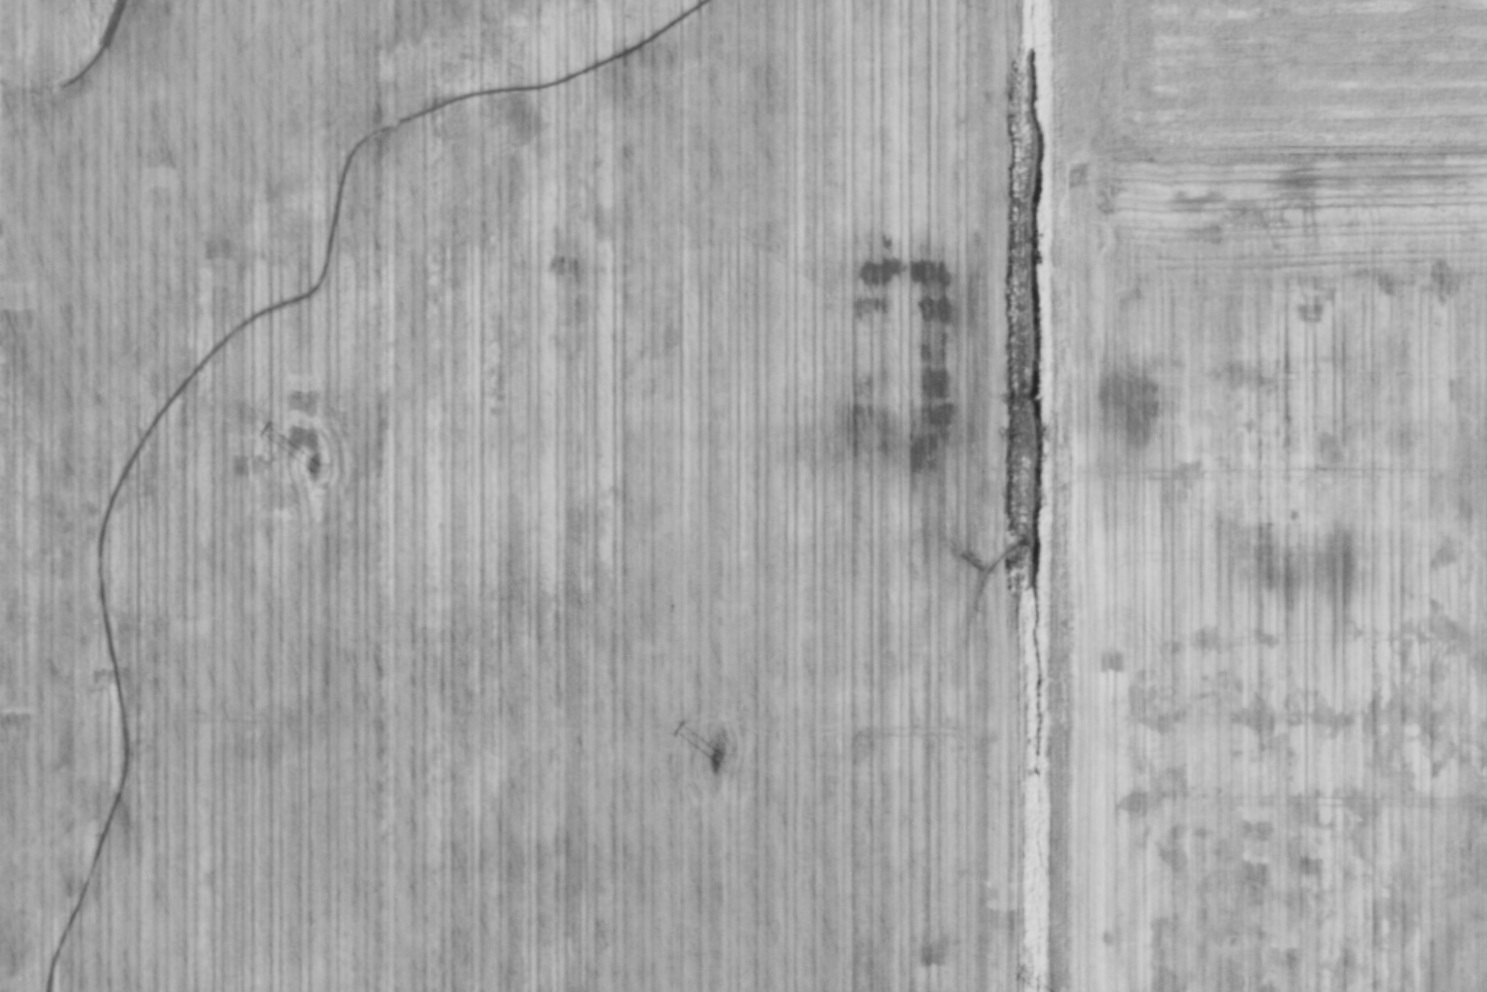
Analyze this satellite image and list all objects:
power tower: (317, 470)
power tower: (717, 756)

